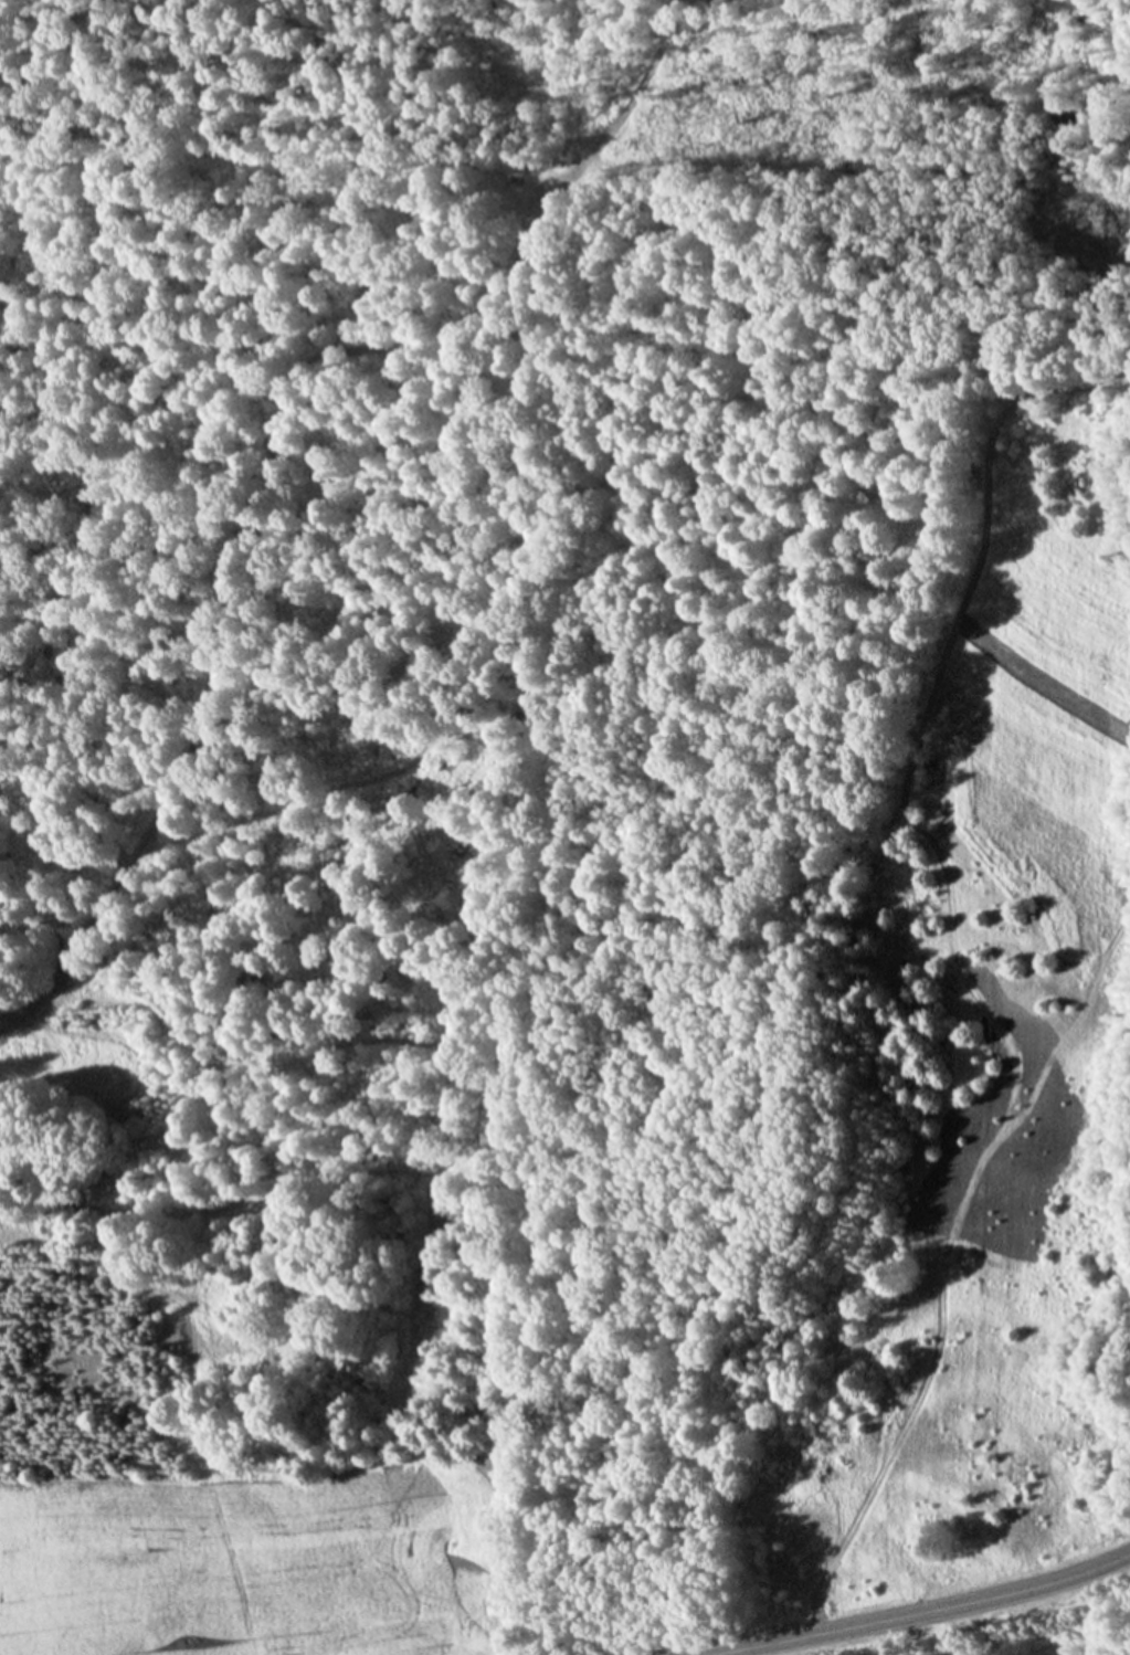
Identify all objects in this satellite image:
road: (289, 487)
road: (923, 1612)
road: (906, 1635)

